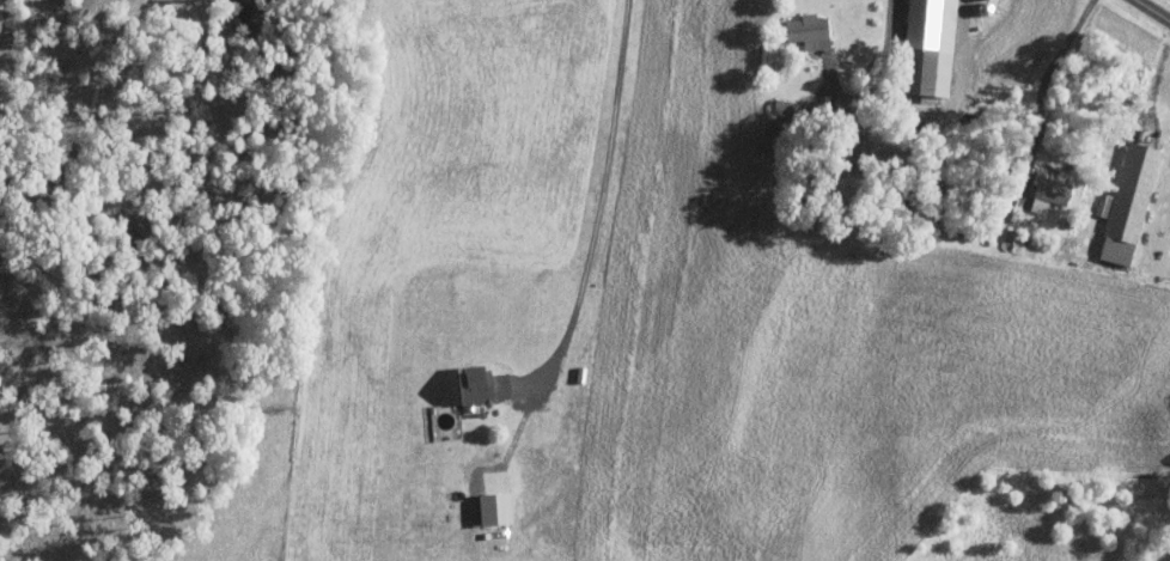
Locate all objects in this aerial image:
road: (1151, 11)
building: (812, 30)
building: (934, 44)
road: (880, 83)
road: (1042, 84)
building: (1055, 189)
road: (599, 197)
building: (1131, 202)
building: (1041, 205)
building: (486, 384)
building: (493, 508)

